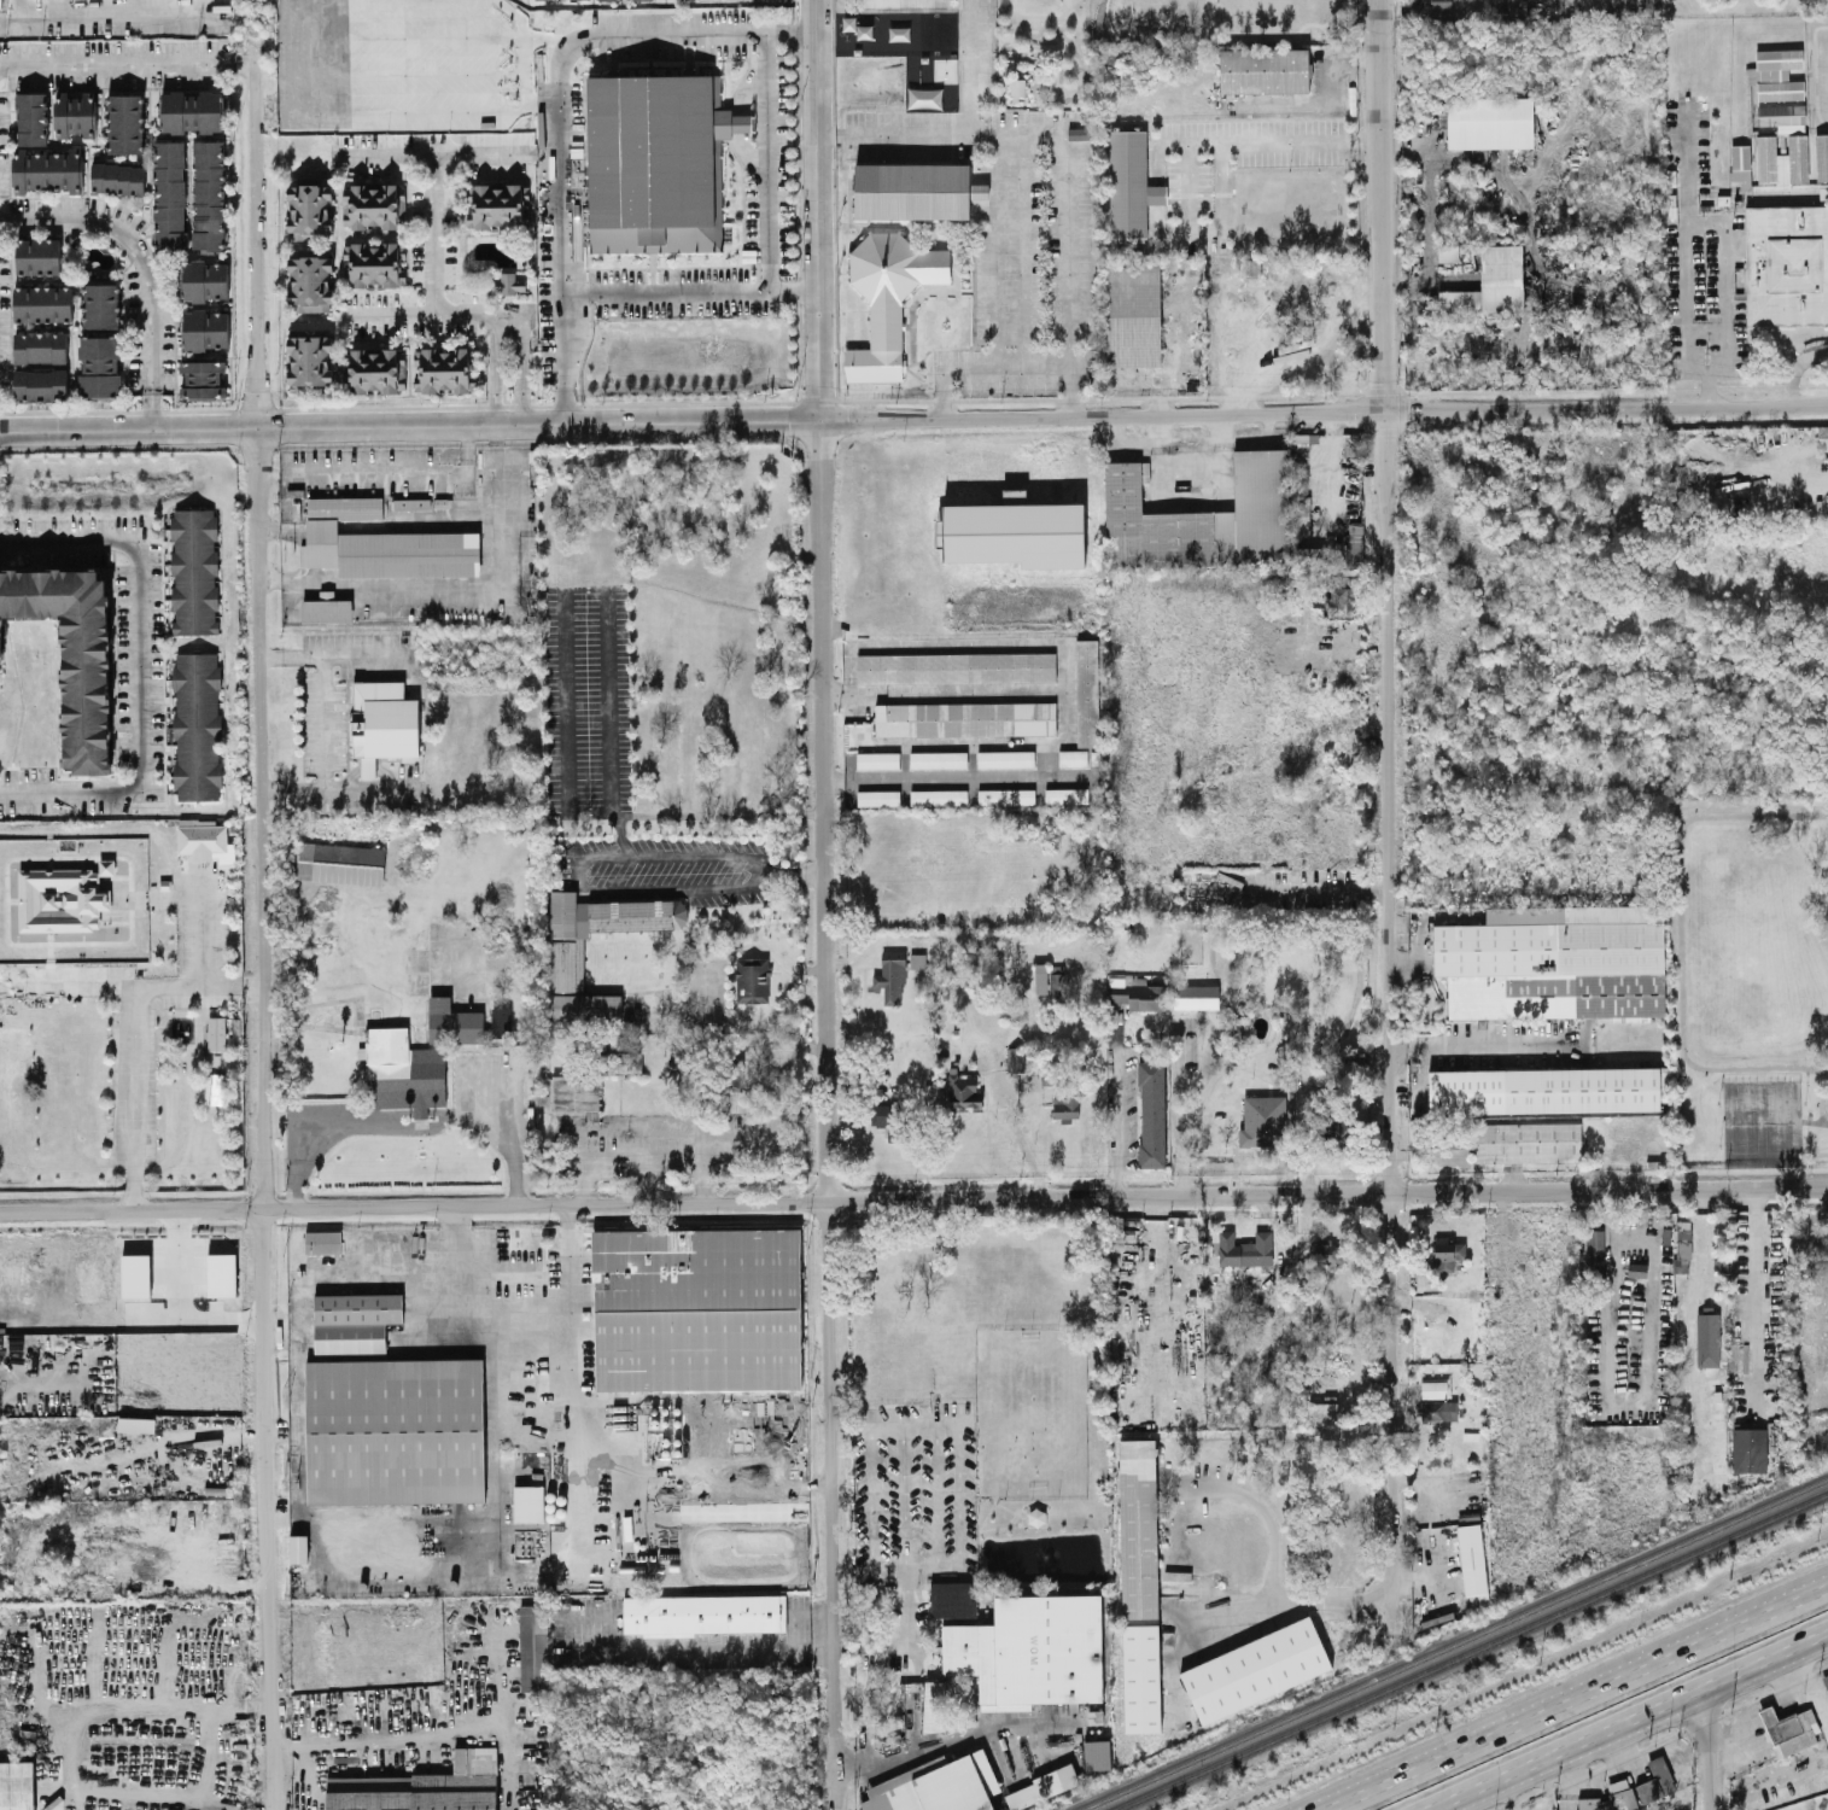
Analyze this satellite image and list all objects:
building: (0, 2)
building: (1433, 4)
road: (129, 13)
road: (7, 18)
road: (425, 34)
road: (528, 34)
building: (935, 37)
road: (288, 54)
road: (130, 63)
road: (963, 68)
building: (1263, 69)
road: (421, 71)
building: (1775, 74)
building: (1016, 86)
road: (290, 97)
road: (561, 104)
road: (426, 109)
building: (191, 110)
building: (72, 113)
building: (1782, 116)
building: (31, 117)
building: (1489, 121)
building: (125, 122)
building: (1077, 132)
road: (1272, 140)
road: (437, 144)
road: (1063, 154)
building: (1821, 156)
road: (765, 159)
building: (655, 160)
building: (1740, 164)
building: (47, 169)
building: (117, 177)
building: (1129, 183)
building: (913, 189)
building: (169, 192)
building: (209, 194)
building: (372, 204)
building: (496, 204)
building: (309, 208)
road: (823, 209)
road: (1731, 222)
road: (432, 228)
road: (1204, 229)
road: (1043, 230)
road: (994, 251)
road: (1020, 251)
building: (1447, 252)
building: (36, 255)
road: (147, 257)
building: (1786, 262)
building: (373, 263)
building: (204, 279)
building: (310, 280)
building: (1490, 282)
road: (693, 291)
building: (887, 297)
building: (41, 303)
building: (101, 304)
building: (1132, 314)
building: (204, 328)
building: (39, 345)
building: (310, 358)
building: (99, 364)
road: (1794, 367)
building: (376, 368)
building: (440, 368)
road: (980, 369)
building: (202, 378)
building: (39, 383)
road: (1707, 386)
road: (913, 416)
road: (1164, 462)
road: (376, 469)
building: (1012, 495)
building: (410, 502)
road: (504, 514)
building: (1300, 514)
building: (1201, 518)
building: (1014, 532)
building: (381, 543)
building: (1354, 544)
building: (1307, 554)
building: (193, 570)
road: (588, 586)
building: (1339, 601)
building: (326, 609)
building: (71, 653)
road: (323, 655)
road: (135, 665)
building: (956, 666)
road: (953, 690)
building: (1086, 691)
road: (1079, 695)
building: (964, 718)
building: (382, 722)
building: (197, 726)
road: (321, 754)
building: (1071, 757)
building: (936, 758)
building: (1004, 758)
building: (876, 759)
road: (962, 782)
building: (1065, 794)
building: (938, 795)
building: (1005, 795)
building: (877, 796)
road: (1391, 819)
building: (200, 836)
road: (1191, 846)
road: (592, 856)
building: (59, 900)
road: (262, 905)
road: (199, 926)
building: (597, 928)
road: (1677, 940)
building: (916, 959)
building: (1554, 962)
building: (1040, 976)
road: (72, 979)
building: (752, 979)
building: (889, 980)
building: (1059, 983)
building: (1134, 991)
building: (1195, 994)
building: (584, 1005)
building: (452, 1021)
building: (215, 1032)
road: (133, 1034)
road: (1484, 1045)
building: (1015, 1058)
building: (402, 1070)
building: (214, 1087)
building: (962, 1090)
building: (1543, 1090)
road: (1817, 1100)
building: (1064, 1105)
road: (1116, 1113)
building: (1151, 1113)
road: (833, 1114)
building: (890, 1119)
building: (1263, 1120)
road: (1814, 1120)
park: (1758, 1121)
road: (422, 1125)
building: (1341, 1132)
building: (1526, 1140)
road: (642, 1156)
road: (303, 1164)
road: (913, 1197)
building: (1812, 1237)
building: (320, 1240)
building: (1594, 1244)
building: (1682, 1246)
building: (1244, 1248)
road: (1154, 1249)
building: (1326, 1254)
building: (1448, 1254)
road: (462, 1256)
building: (134, 1273)
building: (221, 1273)
road: (561, 1279)
building: (694, 1308)
building: (350, 1321)
building: (1706, 1341)
road: (1703, 1342)
road: (506, 1353)
building: (1433, 1388)
building: (1321, 1408)
building: (1437, 1409)
road: (853, 1414)
building: (392, 1430)
building: (1748, 1448)
road: (935, 1464)
road: (870, 1489)
building: (527, 1501)
road: (309, 1516)
building: (1135, 1528)
building: (298, 1547)
road: (900, 1564)
building: (1472, 1564)
road: (1275, 1575)
building: (951, 1598)
road: (1290, 1600)
building: (701, 1612)
railway: (1453, 1643)
road: (204, 1645)
road: (707, 1645)
building: (533, 1646)
building: (1028, 1650)
railway: (1470, 1651)
building: (1255, 1668)
building: (1140, 1677)
building: (1824, 1678)
road: (1812, 1683)
road: (1578, 1699)
road: (241, 1701)
building: (933, 1704)
road: (1626, 1722)
road: (45, 1727)
building: (1789, 1728)
road: (367, 1734)
road: (1706, 1748)
road: (909, 1750)
building: (1097, 1753)
building: (1655, 1780)
road: (1563, 1781)
building: (16, 1785)
building: (421, 1786)
building: (963, 1786)
building: (501, 1789)
building: (1618, 1796)
road: (1447, 1805)

